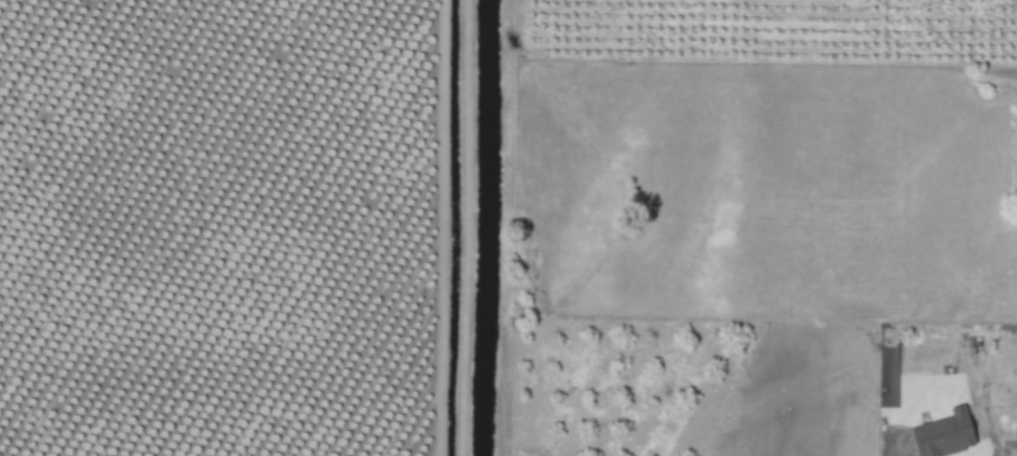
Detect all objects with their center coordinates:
road: (467, 228)
building: (945, 435)
road: (889, 453)

